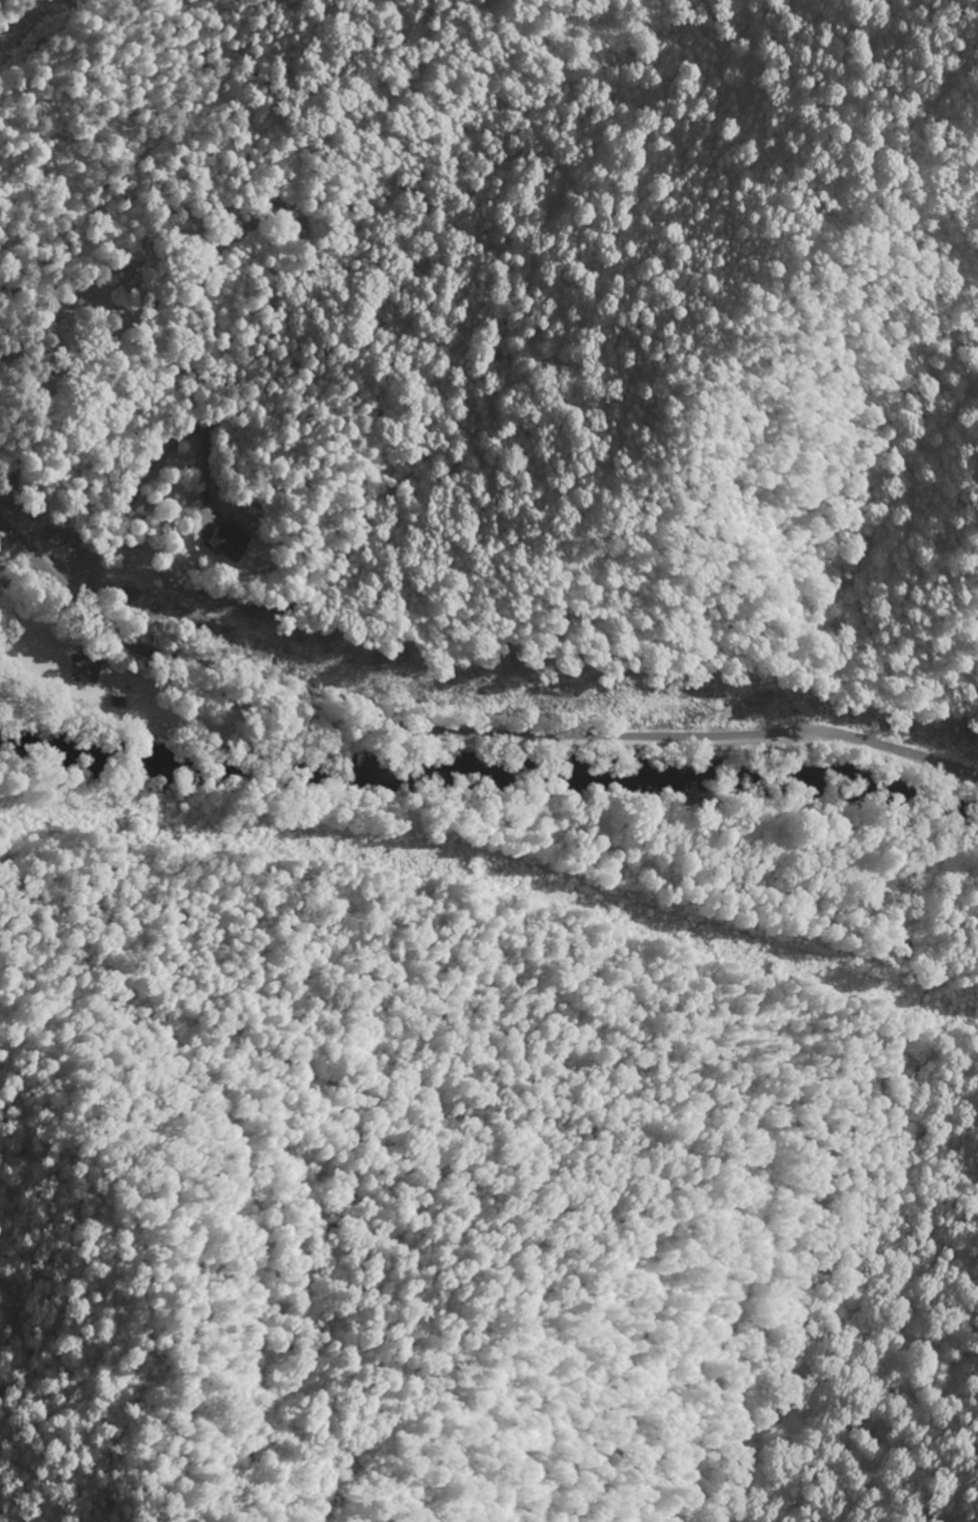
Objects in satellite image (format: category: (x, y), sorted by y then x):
road: (42, 288)
building: (227, 542)
building: (85, 670)
road: (460, 731)
river: (488, 772)

